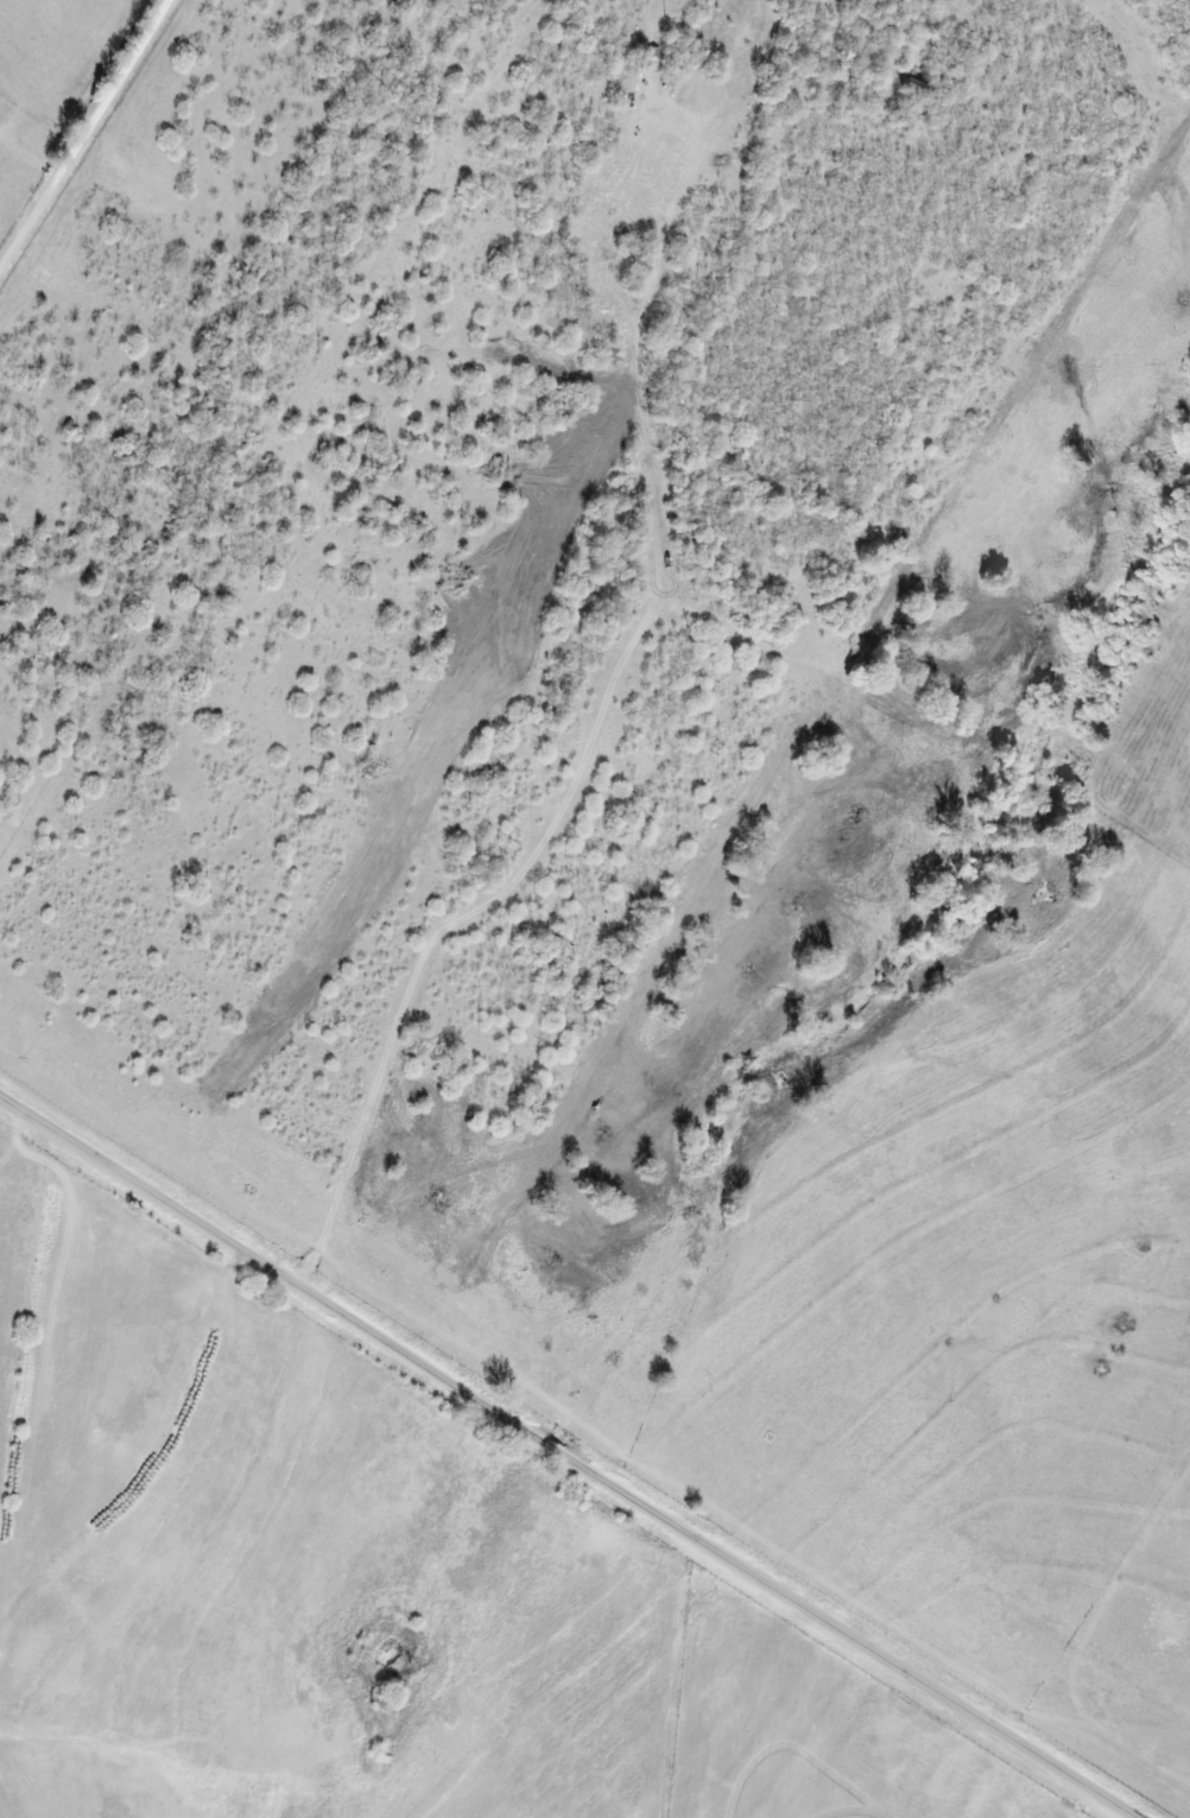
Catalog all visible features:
road: (83, 135)
road: (572, 1456)

